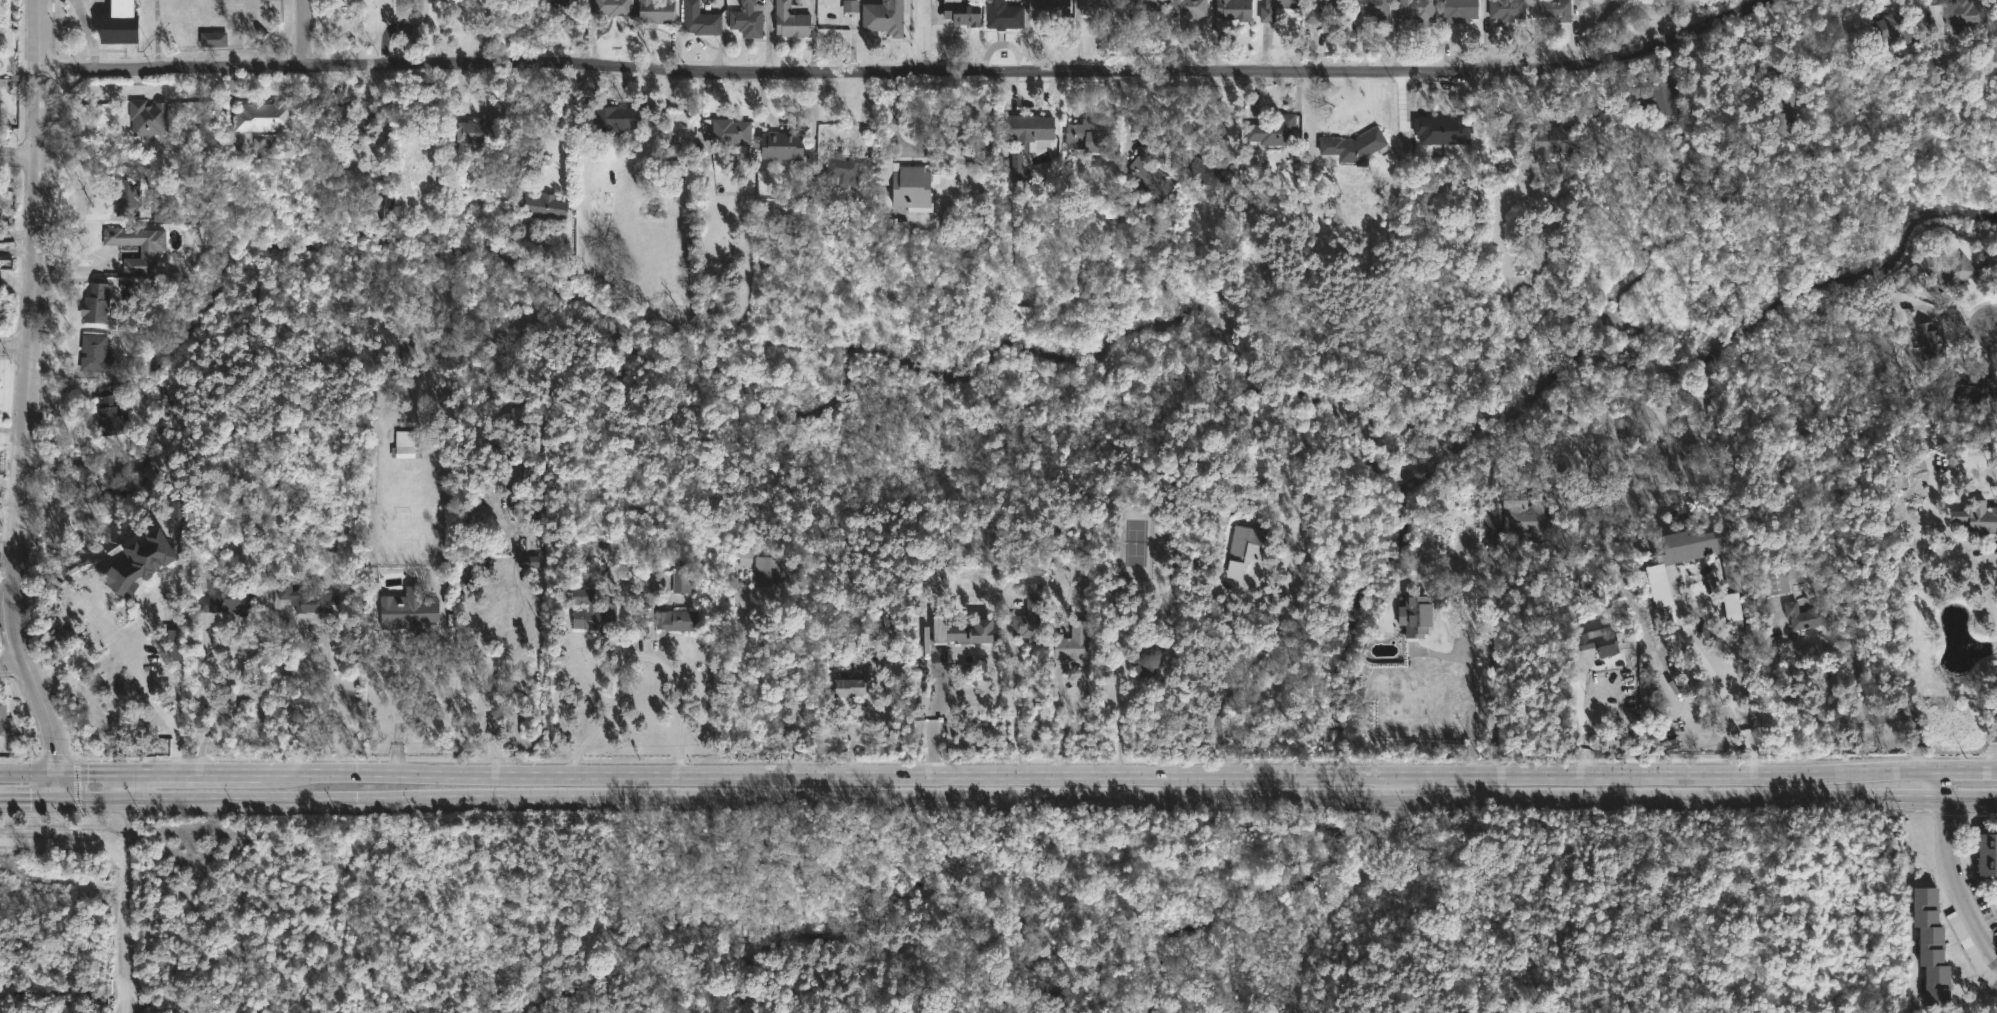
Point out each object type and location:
building: (1141, 2)
building: (564, 3)
building: (611, 6)
building: (850, 6)
building: (1051, 7)
building: (1095, 7)
building: (1187, 8)
building: (1370, 8)
building: (1233, 9)
building: (1315, 9)
building: (1416, 9)
building: (1552, 9)
building: (654, 10)
building: (1506, 10)
building: (960, 11)
building: (1277, 11)
building: (1458, 11)
building: (1963, 13)
building: (1002, 14)
building: (884, 17)
building: (746, 18)
building: (698, 20)
building: (792, 21)
building: (118, 23)
building: (1893, 26)
road: (304, 34)
road: (925, 36)
building: (212, 39)
road: (907, 72)
building: (1758, 82)
building: (1657, 98)
building: (1785, 111)
building: (148, 116)
building: (262, 116)
building: (360, 117)
building: (612, 118)
building: (1030, 128)
building: (1272, 130)
building: (1440, 130)
building: (728, 131)
building: (475, 132)
building: (1085, 135)
building: (1556, 139)
building: (784, 145)
building: (1352, 146)
road: (19, 154)
building: (1016, 165)
building: (1209, 173)
building: (843, 174)
building: (1149, 176)
building: (909, 184)
building: (125, 193)
building: (389, 202)
building: (543, 207)
building: (162, 215)
building: (891, 224)
road: (17, 250)
building: (148, 253)
building: (1991, 262)
road: (92, 268)
building: (1949, 272)
road: (1952, 302)
building: (98, 304)
building: (1022, 313)
road: (1949, 317)
road: (1996, 334)
building: (1931, 341)
road: (14, 348)
building: (95, 354)
building: (1968, 386)
road: (24, 402)
building: (108, 412)
building: (516, 415)
building: (1563, 427)
building: (371, 431)
building: (405, 444)
building: (513, 476)
building: (176, 510)
building: (1526, 516)
building: (1975, 517)
building: (156, 541)
building: (1236, 550)
building: (743, 557)
building: (527, 561)
building: (766, 570)
building: (1726, 574)
building: (1774, 579)
building: (680, 582)
building: (935, 583)
building: (1085, 583)
building: (1657, 585)
building: (122, 588)
building: (226, 599)
building: (304, 600)
building: (1731, 607)
building: (408, 610)
building: (588, 612)
building: (1048, 615)
building: (1803, 616)
building: (1414, 617)
building: (1029, 620)
building: (678, 621)
building: (975, 634)
road: (1487, 643)
building: (1590, 643)
road: (101, 644)
road: (585, 644)
building: (174, 645)
building: (1080, 645)
building: (1155, 658)
road: (13, 663)
road: (1250, 663)
road: (1709, 669)
road: (52, 670)
road: (1472, 684)
building: (852, 688)
road: (680, 690)
road: (291, 698)
road: (210, 699)
road: (1121, 702)
road: (1009, 707)
road: (1580, 712)
road: (440, 714)
road: (1875, 717)
building: (5, 720)
road: (793, 720)
road: (1176, 768)
traffic signals: (57, 770)
road: (177, 770)
road: (1176, 795)
road: (178, 797)
traffic signals: (60, 798)
building: (1987, 852)
road: (1951, 872)
road: (1338, 886)
road: (133, 891)
airport: (817, 919)
building: (1931, 944)

